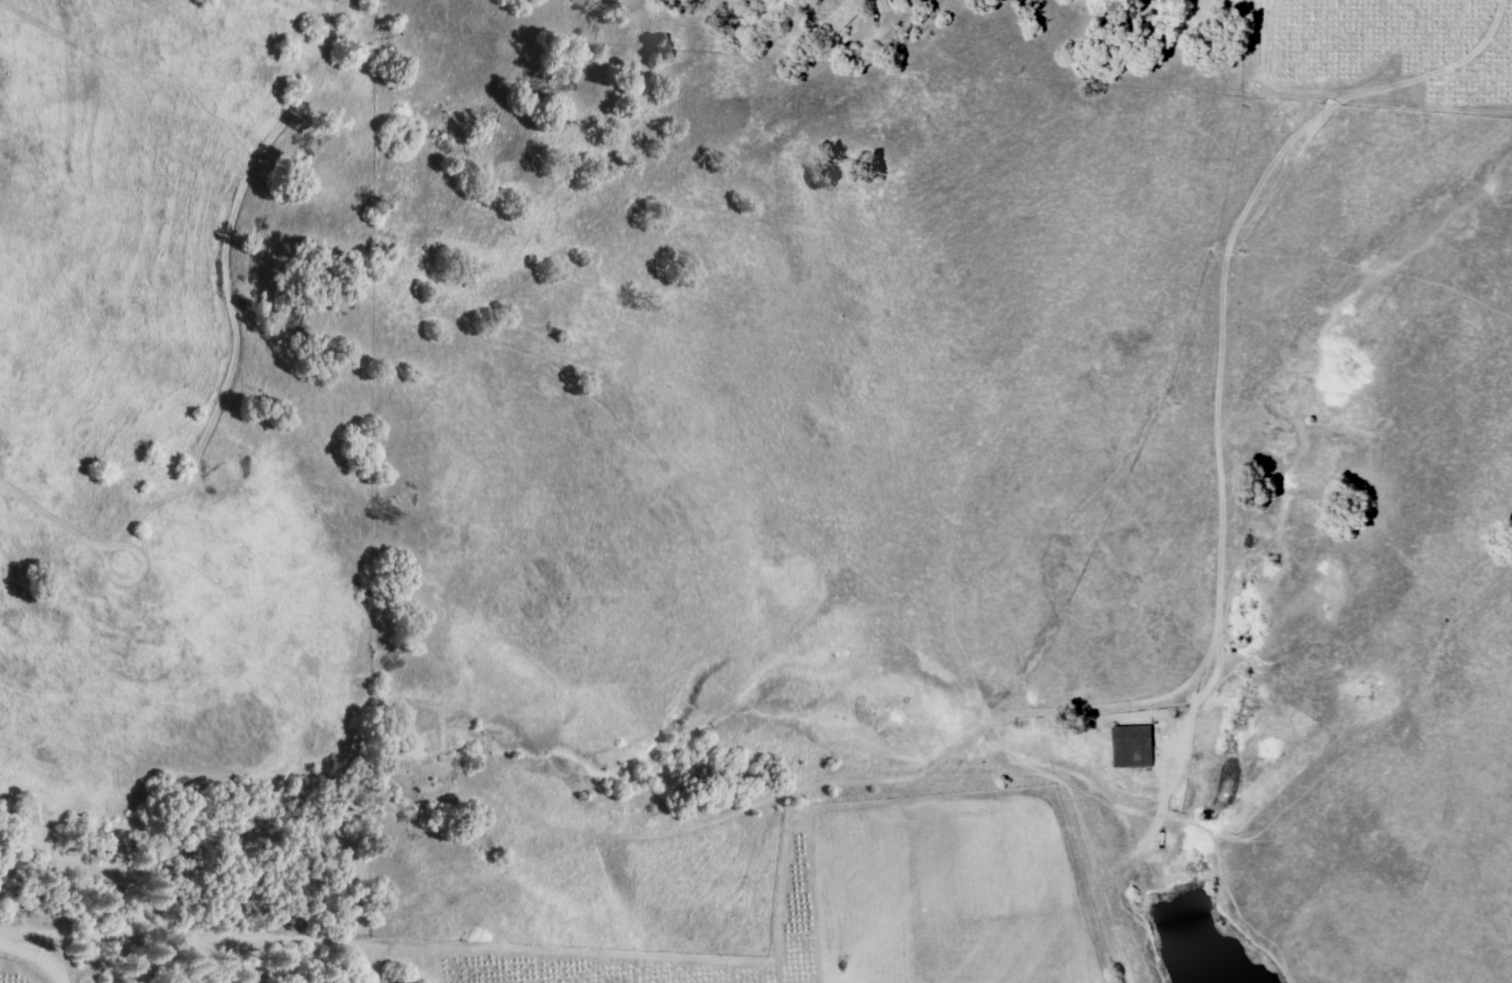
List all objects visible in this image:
road: (1224, 253)
building: (1132, 746)

